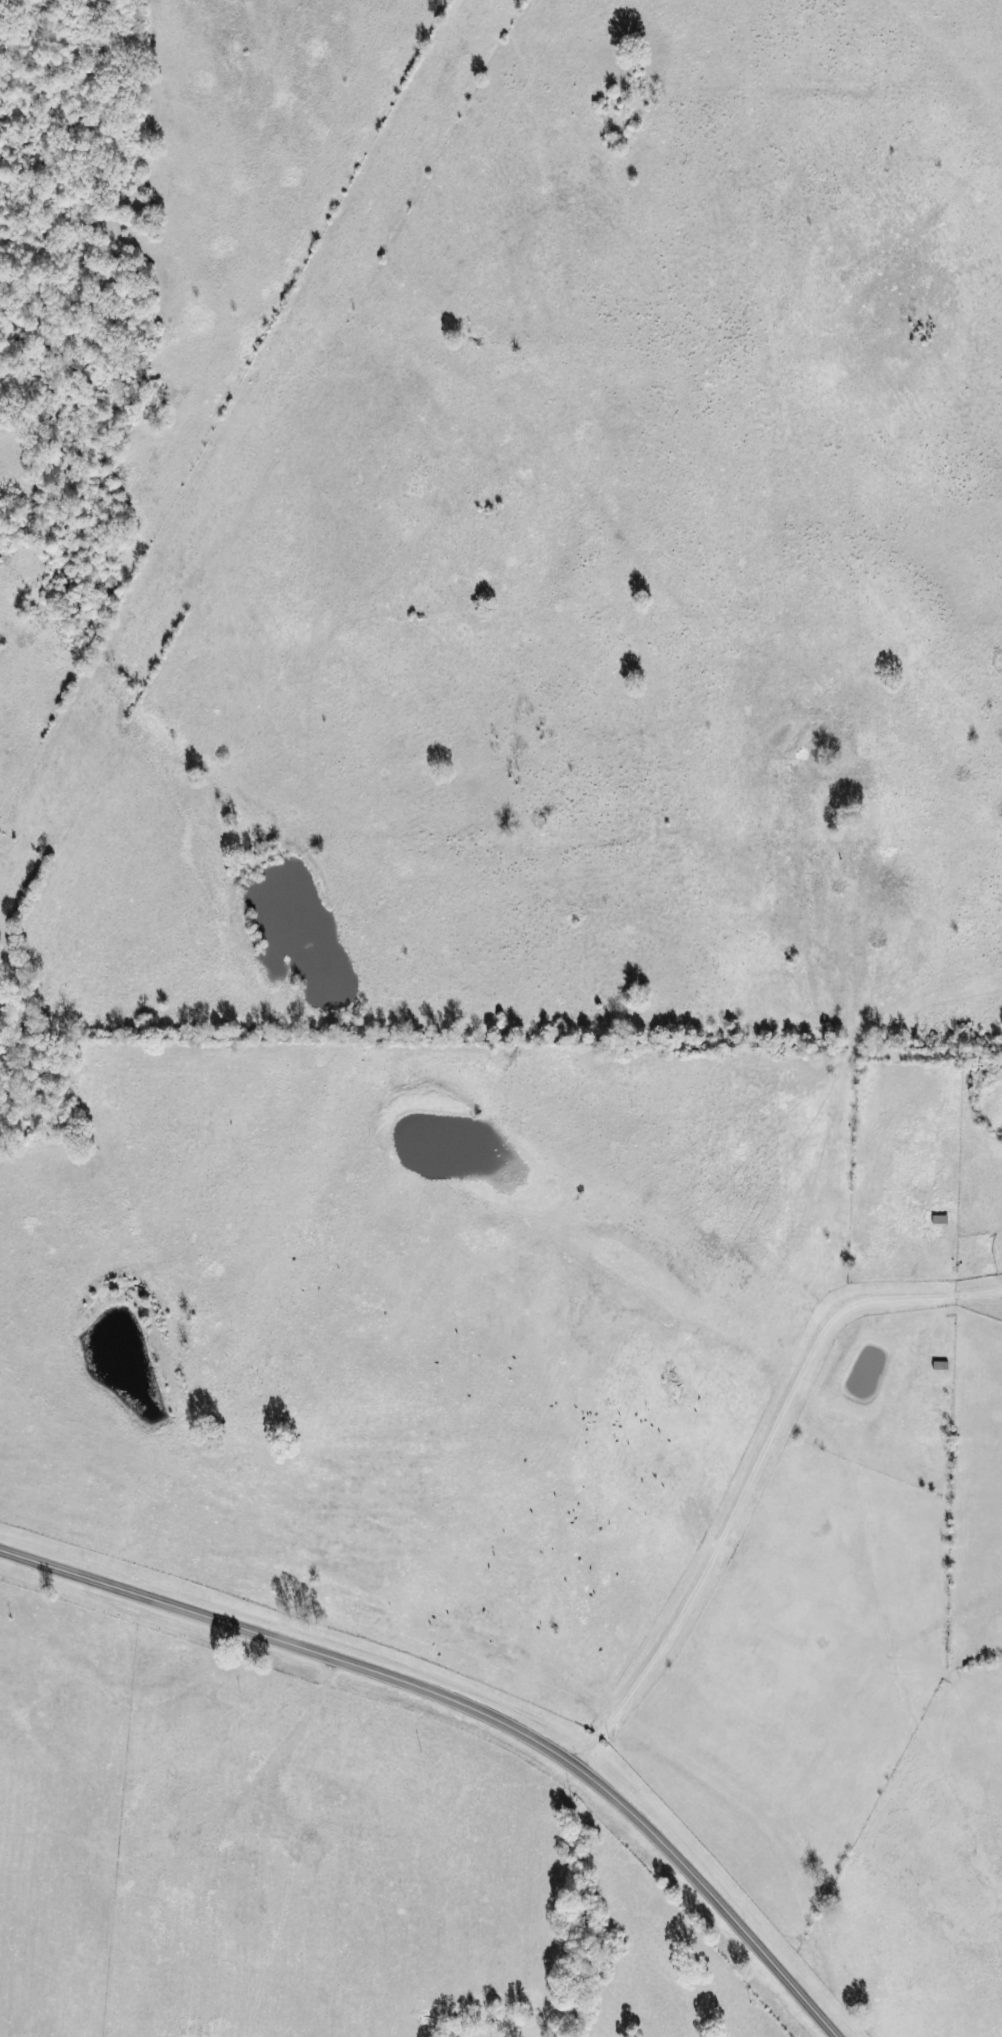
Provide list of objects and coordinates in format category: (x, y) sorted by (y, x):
road: (22, 1009)
road: (754, 1502)
road: (478, 1701)

